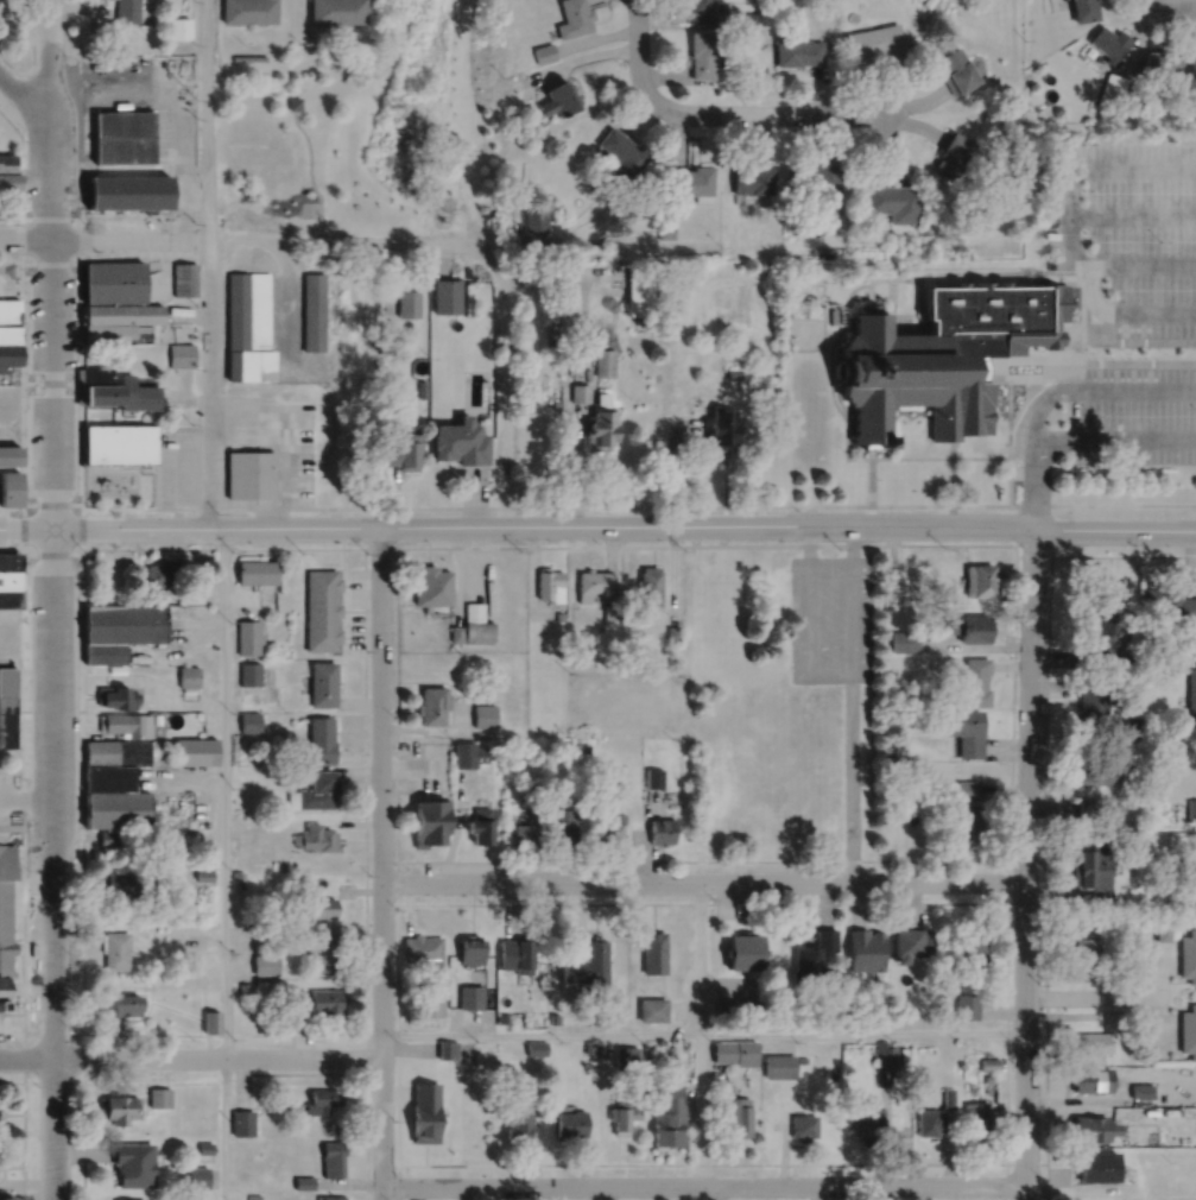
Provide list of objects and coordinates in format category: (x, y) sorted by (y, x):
building: (929, 2)
road: (1171, 4)
building: (828, 7)
building: (704, 10)
building: (1086, 10)
building: (126, 11)
building: (248, 11)
building: (337, 12)
road: (1159, 17)
building: (572, 18)
building: (752, 19)
building: (179, 27)
building: (752, 36)
building: (877, 42)
building: (1110, 43)
road: (32, 52)
building: (544, 52)
building: (798, 52)
building: (702, 53)
building: (249, 57)
building: (1162, 58)
building: (1194, 63)
building: (958, 71)
building: (97, 86)
building: (1113, 90)
road: (25, 100)
building: (557, 100)
building: (292, 102)
building: (1134, 102)
road: (714, 113)
road: (205, 118)
building: (1014, 122)
building: (1005, 126)
building: (125, 138)
building: (954, 152)
building: (620, 154)
park: (298, 156)
road: (309, 168)
building: (8, 170)
building: (751, 176)
building: (811, 177)
building: (695, 183)
building: (129, 192)
building: (896, 198)
road: (304, 208)
road: (1069, 213)
road: (1132, 214)
building: (534, 216)
road: (50, 222)
building: (506, 225)
building: (790, 225)
parking lot: (1128, 230)
building: (666, 233)
road: (236, 236)
building: (524, 238)
road: (78, 253)
building: (823, 253)
road: (38, 259)
road: (50, 263)
park: (8, 277)
building: (183, 277)
building: (112, 279)
road: (869, 286)
road: (891, 289)
building: (640, 290)
building: (447, 293)
building: (855, 295)
road: (919, 299)
building: (407, 302)
road: (21, 304)
building: (247, 308)
building: (8, 309)
building: (312, 309)
road: (188, 310)
building: (121, 311)
road: (1124, 311)
building: (830, 314)
road: (1082, 314)
road: (843, 321)
road: (891, 321)
road: (910, 326)
building: (106, 330)
building: (689, 330)
building: (8, 331)
road: (1072, 331)
road: (1139, 340)
building: (942, 352)
building: (179, 353)
building: (7, 354)
road: (989, 355)
road: (1011, 355)
building: (605, 360)
road: (1139, 361)
building: (249, 362)
building: (734, 373)
road: (1032, 375)
road: (506, 379)
building: (715, 379)
road: (209, 381)
road: (1038, 384)
building: (422, 387)
building: (116, 389)
road: (1131, 390)
building: (578, 391)
building: (601, 397)
road: (842, 404)
parking lot: (1133, 412)
building: (811, 413)
building: (576, 421)
building: (599, 428)
building: (721, 428)
road: (1050, 436)
road: (1131, 436)
building: (460, 440)
building: (118, 442)
building: (404, 449)
road: (1034, 449)
building: (10, 454)
road: (988, 456)
parking lot: (179, 463)
road: (953, 470)
building: (251, 473)
road: (1010, 480)
building: (10, 486)
road: (597, 505)
road: (597, 524)
road: (836, 544)
building: (10, 560)
building: (257, 570)
building: (162, 571)
building: (10, 579)
building: (980, 579)
building: (546, 581)
building: (431, 585)
building: (593, 585)
building: (648, 585)
building: (191, 594)
building: (489, 595)
building: (10, 596)
building: (1166, 604)
building: (322, 608)
building: (610, 613)
building: (558, 614)
parking lot: (830, 617)
road: (809, 619)
building: (476, 623)
building: (968, 626)
building: (119, 629)
building: (455, 632)
building: (672, 633)
building: (248, 636)
building: (904, 640)
building: (1102, 643)
building: (1131, 659)
building: (249, 672)
building: (188, 676)
building: (975, 681)
building: (323, 683)
building: (1191, 693)
building: (115, 696)
road: (852, 701)
building: (1094, 701)
building: (7, 703)
building: (431, 705)
building: (483, 714)
building: (156, 718)
building: (249, 721)
building: (125, 724)
building: (1134, 726)
building: (963, 728)
building: (319, 740)
building: (586, 747)
building: (195, 750)
building: (116, 752)
building: (467, 753)
building: (888, 754)
building: (1096, 773)
building: (108, 777)
building: (654, 777)
building: (968, 789)
building: (1159, 789)
building: (314, 791)
building: (531, 792)
parking lot: (5, 796)
road: (26, 798)
building: (556, 804)
building: (115, 808)
building: (1089, 808)
building: (1191, 809)
building: (429, 821)
building: (970, 822)
building: (1120, 823)
building: (479, 826)
building: (564, 826)
building: (613, 828)
building: (662, 830)
building: (185, 832)
building: (520, 832)
building: (108, 838)
building: (316, 838)
building: (1141, 840)
road: (380, 861)
road: (52, 863)
road: (224, 863)
road: (1025, 863)
building: (204, 866)
building: (1091, 877)
building: (238, 879)
road: (703, 880)
building: (121, 884)
building: (321, 908)
building: (5, 918)
building: (1162, 930)
parking lot: (33, 940)
building: (911, 940)
building: (975, 942)
building: (866, 947)
building: (745, 948)
building: (114, 949)
building: (470, 949)
building: (325, 950)
building: (422, 950)
building: (653, 952)
building: (1086, 954)
building: (514, 955)
building: (1188, 956)
building: (816, 959)
building: (593, 961)
building: (266, 965)
road: (1159, 972)
building: (243, 986)
road: (1118, 997)
building: (469, 998)
building: (312, 1002)
building: (967, 1004)
building: (120, 1005)
building: (430, 1005)
building: (738, 1006)
building: (651, 1010)
building: (502, 1017)
building: (553, 1019)
building: (210, 1021)
road: (703, 1031)
building: (1188, 1032)
parking lot: (8, 1038)
building: (662, 1038)
road: (701, 1041)
building: (1091, 1044)
building: (536, 1046)
building: (588, 1046)
building: (448, 1048)
building: (735, 1049)
building: (460, 1050)
building: (488, 1051)
building: (886, 1053)
building: (627, 1055)
road: (190, 1057)
building: (803, 1057)
building: (989, 1062)
building: (780, 1063)
building: (989, 1076)
building: (1091, 1076)
building: (1140, 1088)
building: (159, 1095)
building: (949, 1095)
building: (322, 1098)
building: (118, 1106)
building: (449, 1111)
building: (735, 1113)
building: (622, 1114)
building: (669, 1114)
building: (977, 1117)
building: (242, 1120)
building: (866, 1120)
building: (931, 1120)
building: (518, 1122)
building: (571, 1122)
building: (803, 1124)
building: (1091, 1126)
building: (205, 1147)
building: (334, 1156)
building: (133, 1161)
building: (1097, 1164)
building: (195, 1175)
building: (304, 1181)
road: (703, 1185)
building: (254, 1196)
building: (331, 1196)
building: (131, 1199)

